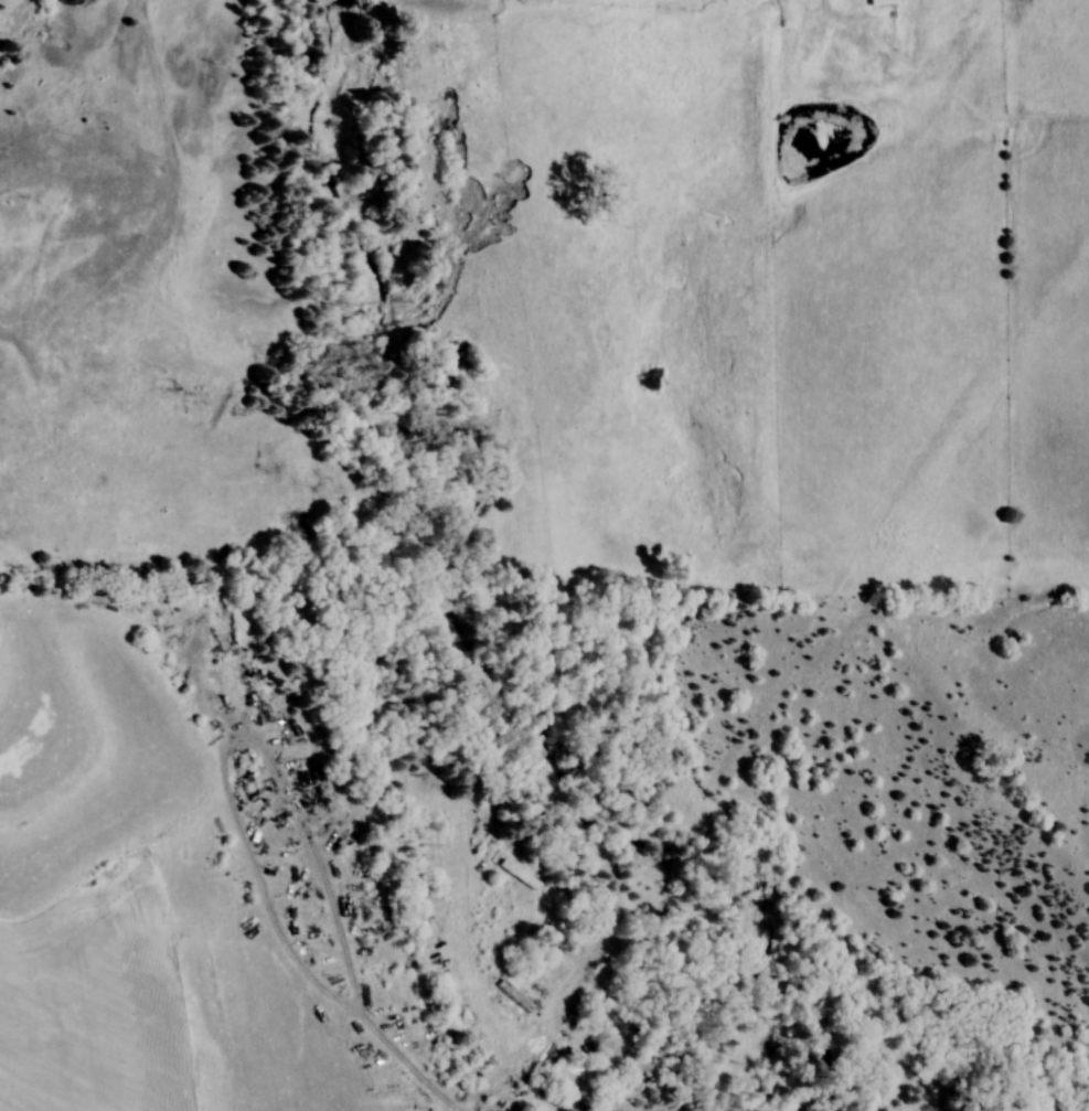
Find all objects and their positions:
building: (883, 2)
building: (629, 9)
building: (383, 1093)

